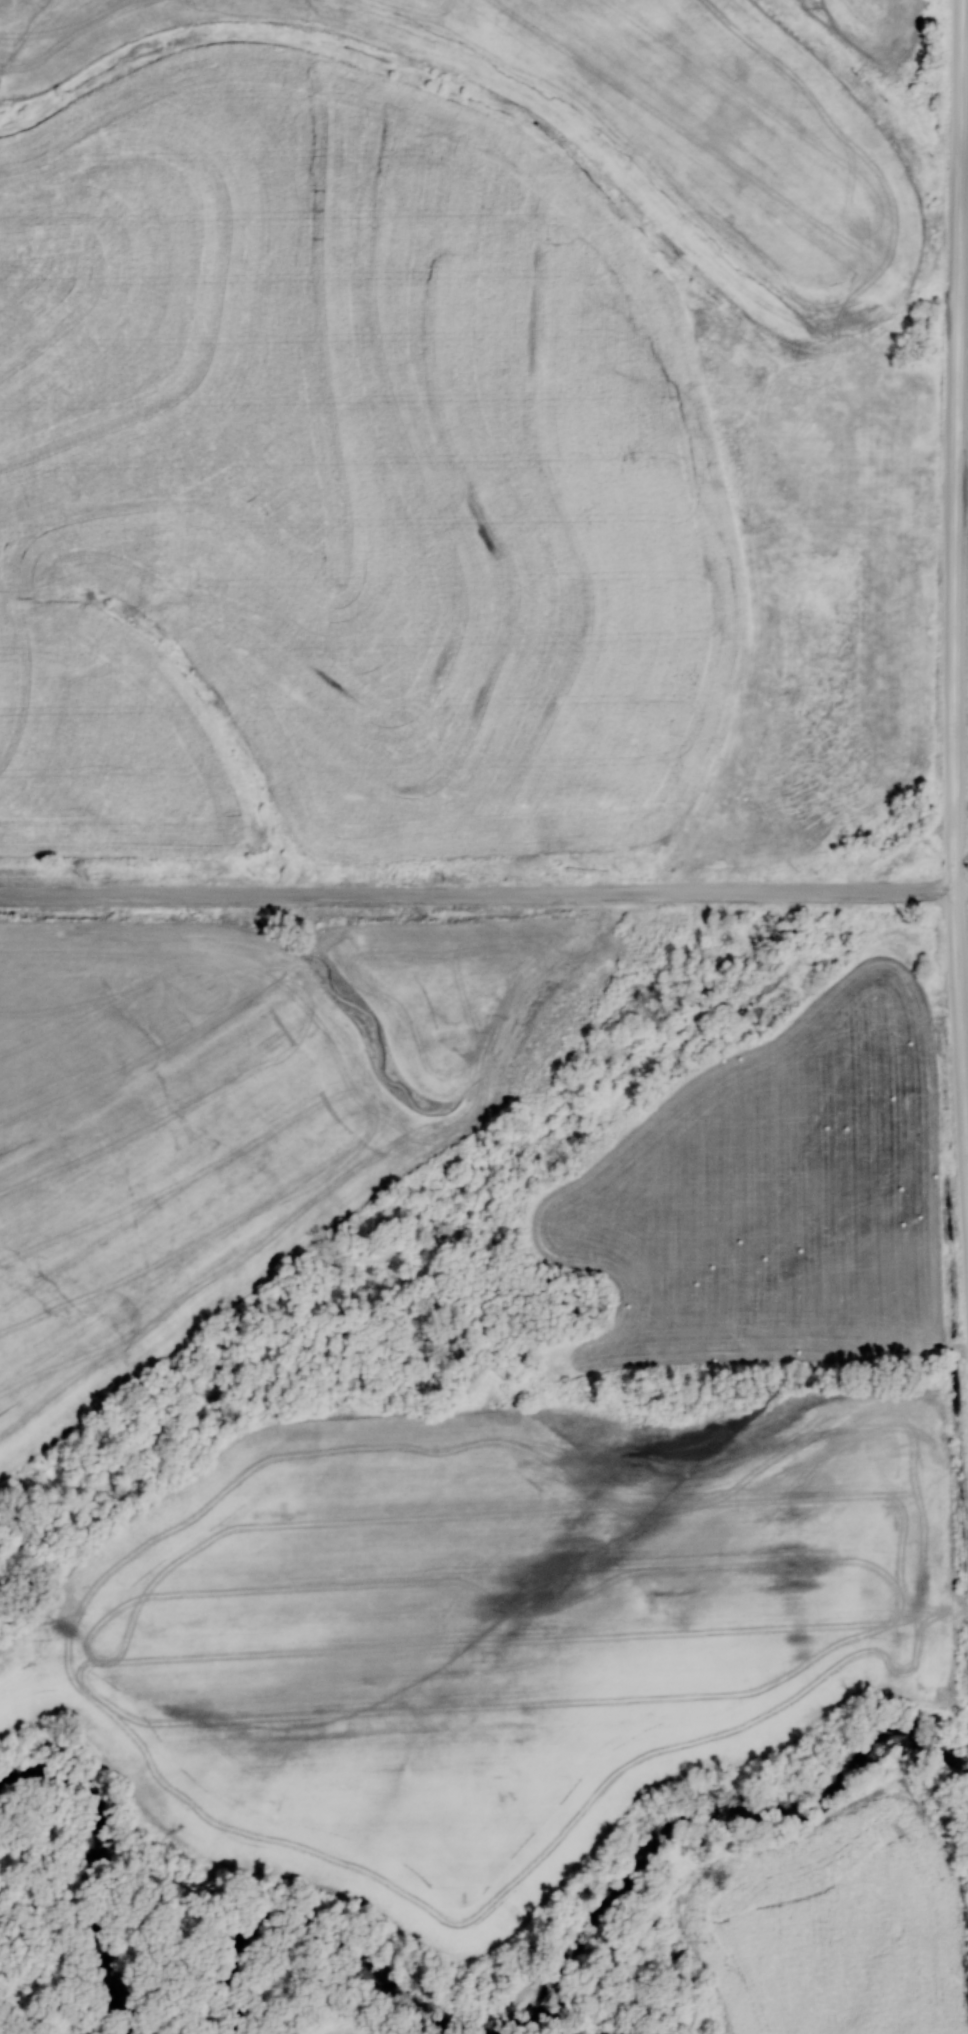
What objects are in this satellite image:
road: (957, 576)
road: (477, 895)
river: (108, 1861)
river: (581, 1940)

